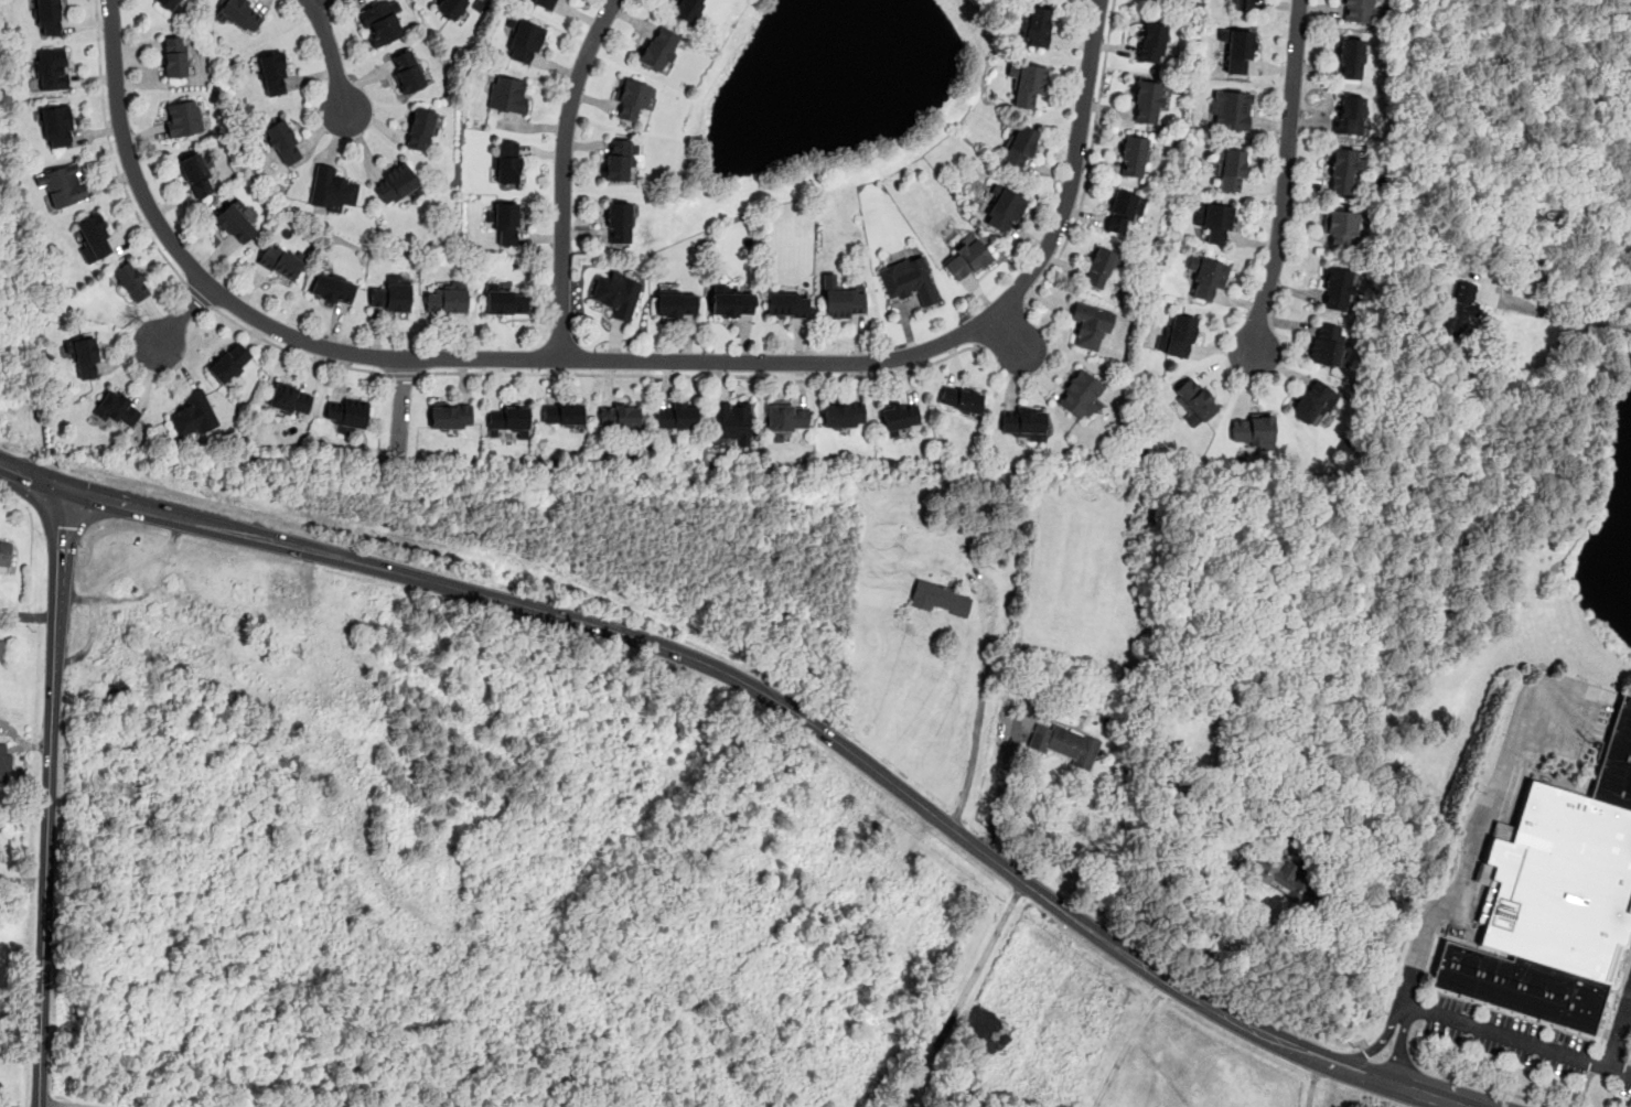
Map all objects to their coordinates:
road: (309, 0)
building: (169, 3)
building: (546, 3)
building: (1242, 4)
building: (451, 8)
building: (687, 9)
building: (1358, 11)
building: (238, 12)
building: (47, 18)
building: (379, 21)
building: (1033, 25)
building: (525, 42)
building: (1150, 42)
building: (658, 47)
building: (1236, 50)
building: (174, 56)
building: (1350, 57)
road: (331, 58)
building: (51, 68)
building: (407, 71)
building: (272, 73)
building: (1028, 84)
building: (507, 94)
building: (632, 97)
building: (1146, 101)
building: (1231, 109)
building: (1349, 115)
building: (182, 118)
building: (56, 126)
building: (420, 129)
building: (282, 142)
building: (1019, 146)
road: (110, 151)
building: (1131, 155)
building: (619, 158)
road: (1090, 160)
building: (507, 162)
building: (1228, 169)
building: (1343, 169)
building: (196, 174)
road: (564, 174)
road: (1285, 178)
building: (63, 183)
building: (395, 183)
building: (331, 190)
building: (1004, 209)
building: (1122, 209)
building: (619, 221)
building: (1214, 221)
building: (235, 224)
building: (506, 224)
building: (1340, 226)
building: (94, 237)
building: (966, 259)
building: (279, 262)
building: (1099, 267)
building: (1206, 275)
building: (131, 279)
building: (908, 279)
building: (332, 287)
building: (1337, 289)
road: (197, 293)
building: (390, 293)
building: (616, 293)
building: (448, 297)
building: (844, 300)
building: (506, 301)
building: (675, 303)
building: (731, 303)
building: (786, 303)
building: (1461, 312)
road: (1567, 314)
road: (179, 315)
road: (1002, 325)
building: (1090, 325)
building: (1177, 335)
building: (1327, 345)
road: (293, 352)
building: (85, 356)
road: (611, 358)
building: (228, 361)
road: (701, 374)
road: (403, 376)
building: (1080, 395)
building: (961, 397)
building: (290, 399)
building: (1194, 399)
building: (1312, 401)
road: (400, 402)
building: (118, 408)
building: (562, 413)
building: (193, 415)
building: (345, 415)
building: (843, 415)
building: (450, 416)
building: (620, 416)
building: (676, 416)
building: (786, 416)
building: (899, 416)
building: (508, 420)
building: (730, 420)
building: (1022, 422)
building: (1253, 430)
traffic signals: (62, 488)
building: (4, 550)
building: (941, 598)
building: (1, 647)
road: (980, 692)
road: (770, 697)
building: (1063, 743)
building: (6, 762)
building: (1616, 764)
road: (999, 784)
building: (122, 786)
road: (49, 797)
road: (1167, 847)
building: (1281, 875)
building: (1559, 884)
building: (1520, 987)
road: (964, 992)
road: (20, 1008)
road: (1627, 1014)
road: (1617, 1028)
road: (1413, 1040)
road: (1519, 1042)
road: (1127, 1043)
road: (1352, 1043)
road: (1377, 1043)
parking lot: (1531, 1044)
road: (1401, 1045)
road: (1367, 1050)
road: (1376, 1057)
road: (1397, 1061)
road: (1310, 1083)
road: (1484, 1084)
road: (1585, 1088)
road: (71, 1103)

